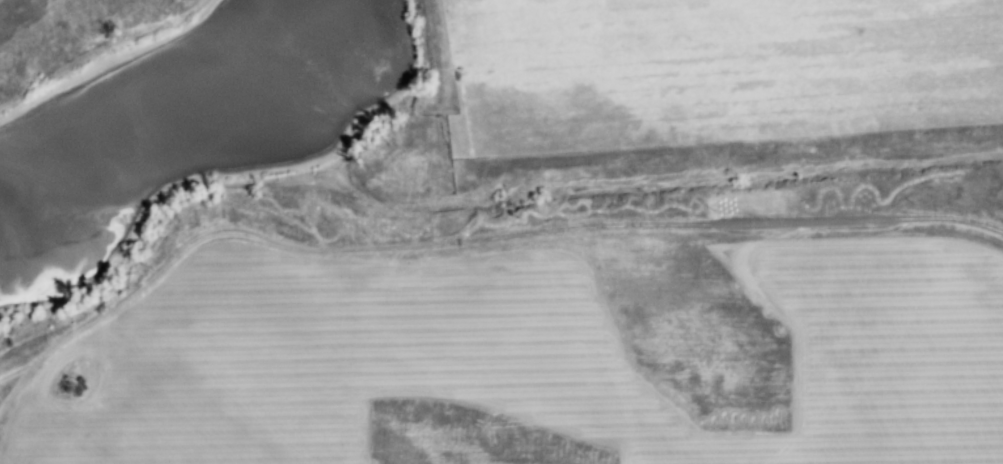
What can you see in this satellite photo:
road: (475, 242)

